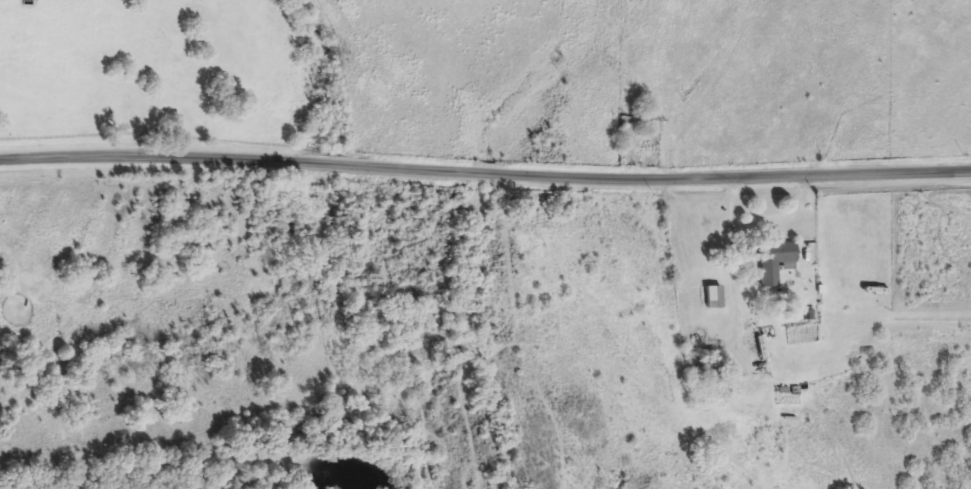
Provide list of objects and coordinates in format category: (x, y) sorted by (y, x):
building: (629, 124)
road: (485, 177)
road: (767, 219)
building: (773, 261)
building: (713, 297)
building: (711, 363)

